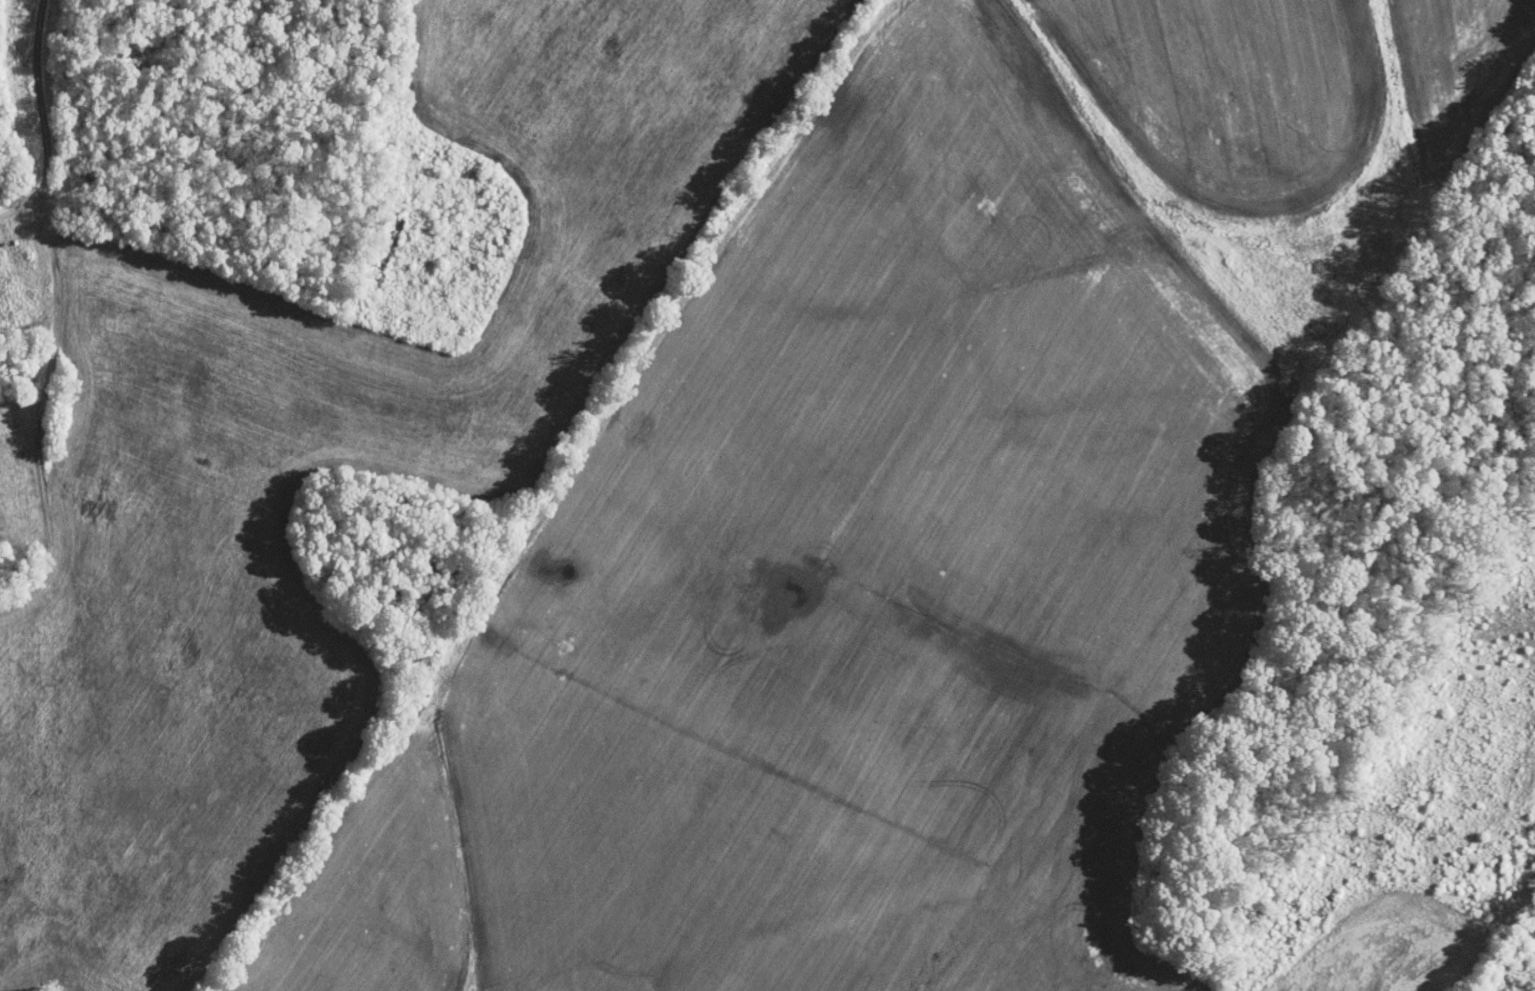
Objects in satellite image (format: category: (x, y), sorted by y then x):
road: (44, 117)

